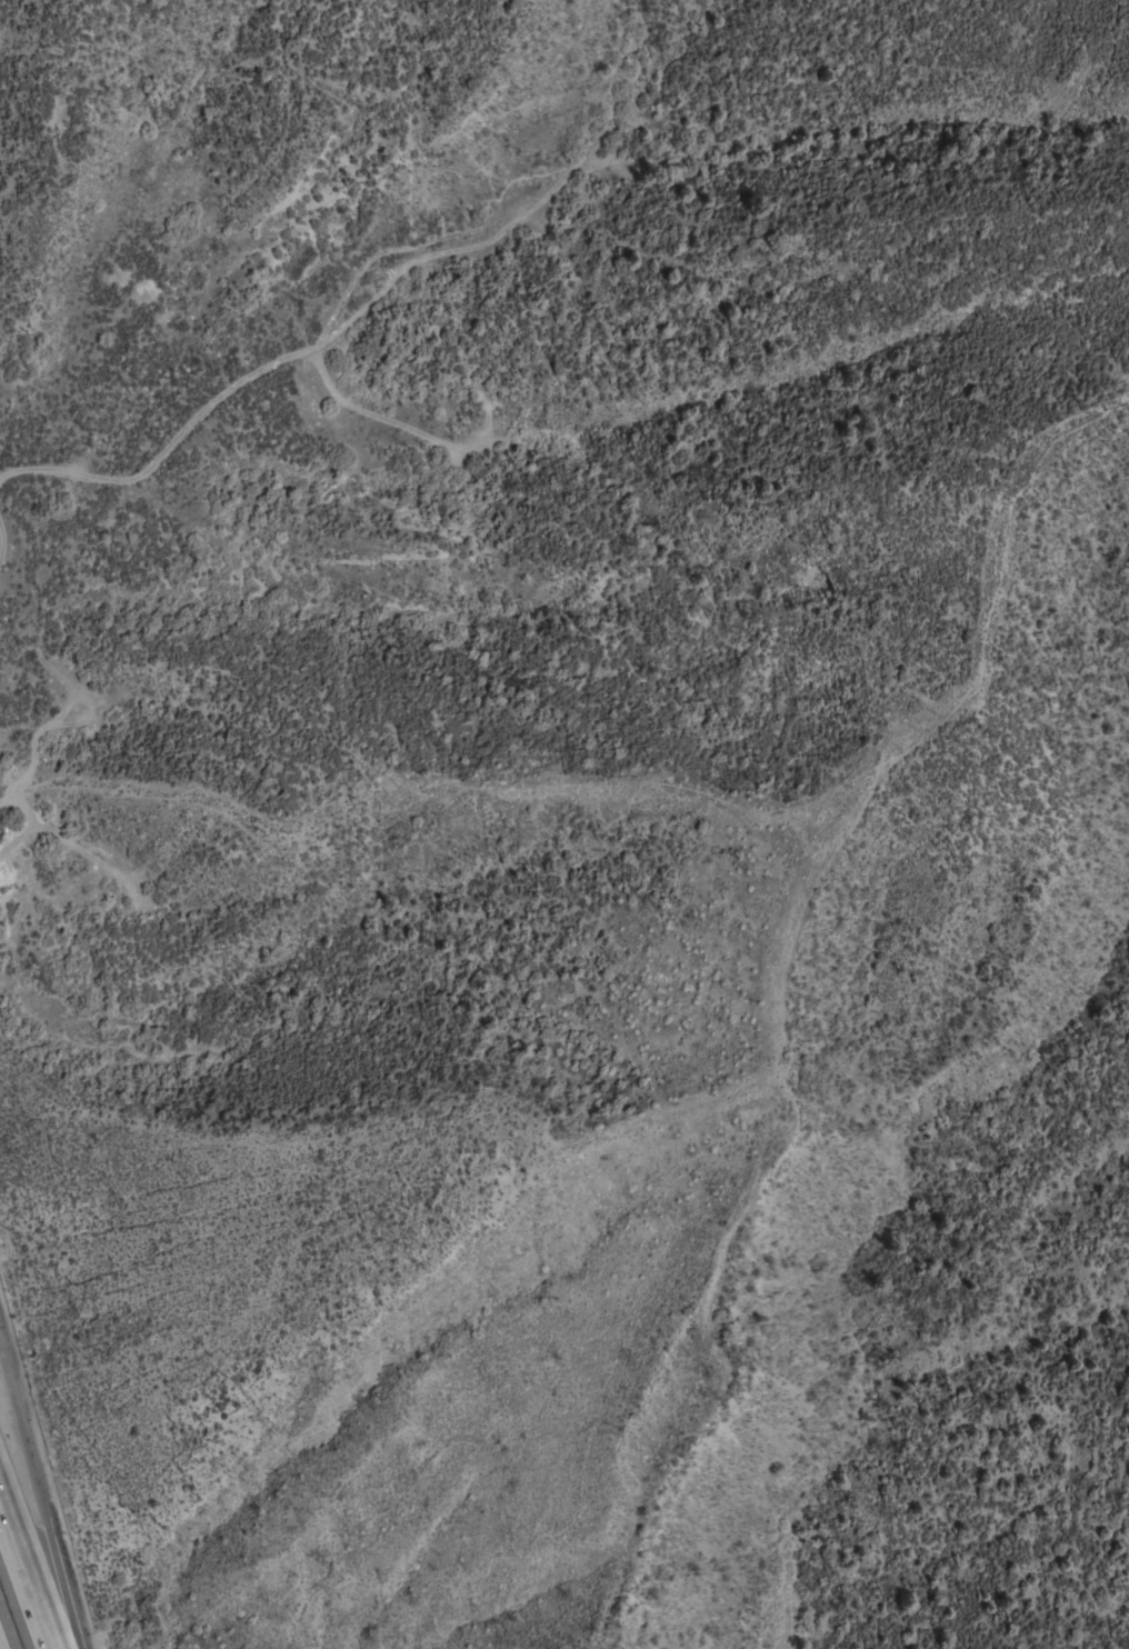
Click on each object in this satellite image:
road: (41, 1497)
road: (27, 1575)

